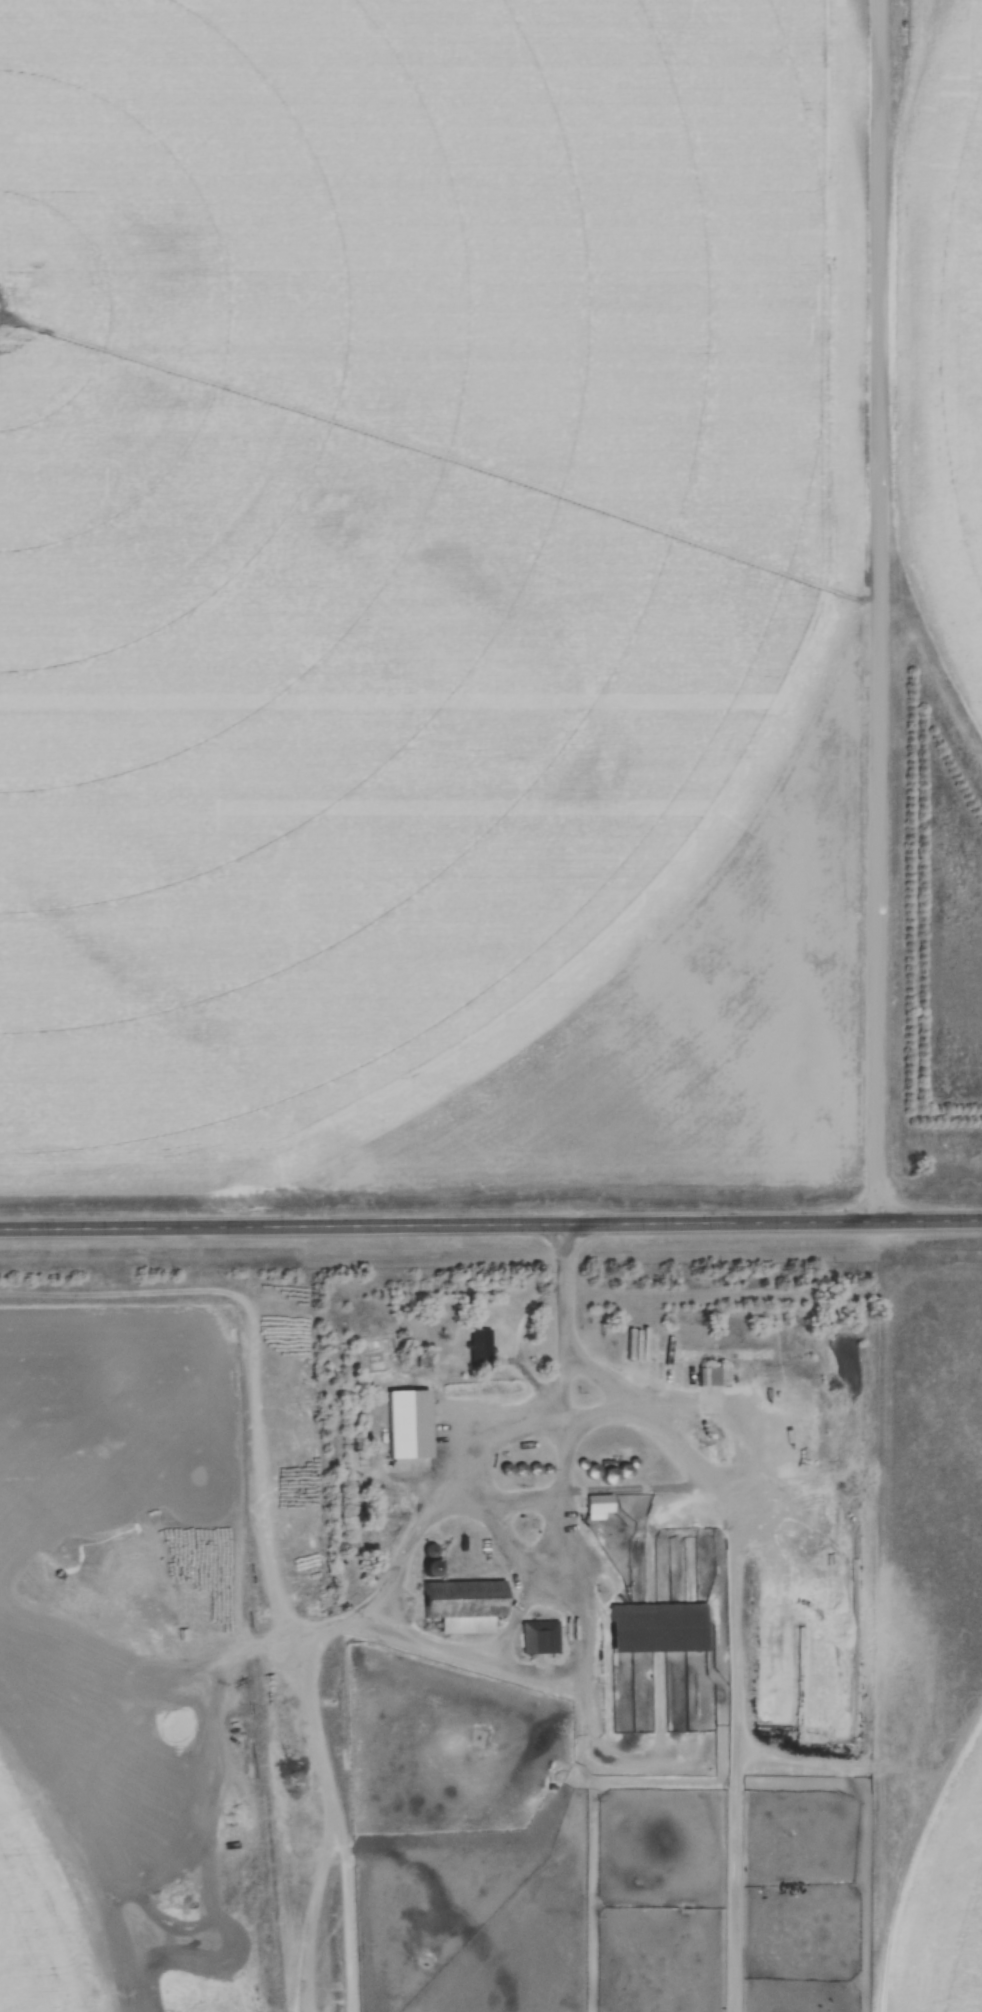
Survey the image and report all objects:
road: (880, 610)
road: (491, 1228)
building: (479, 1345)
building: (709, 1376)
building: (714, 1436)
silo: (714, 1436)
road: (512, 1441)
building: (636, 1462)
silo: (636, 1462)
building: (583, 1464)
silo: (583, 1464)
building: (522, 1469)
silo: (522, 1469)
building: (538, 1469)
silo: (538, 1469)
building: (508, 1470)
silo: (508, 1470)
building: (551, 1470)
silo: (551, 1470)
building: (594, 1471)
silo: (594, 1471)
building: (625, 1471)
silo: (625, 1471)
building: (610, 1475)
silo: (610, 1475)
building: (598, 1506)
road: (745, 1534)
building: (433, 1551)
silo: (433, 1551)
building: (431, 1568)
silo: (431, 1568)
building: (465, 1605)
building: (657, 1628)
building: (539, 1637)

